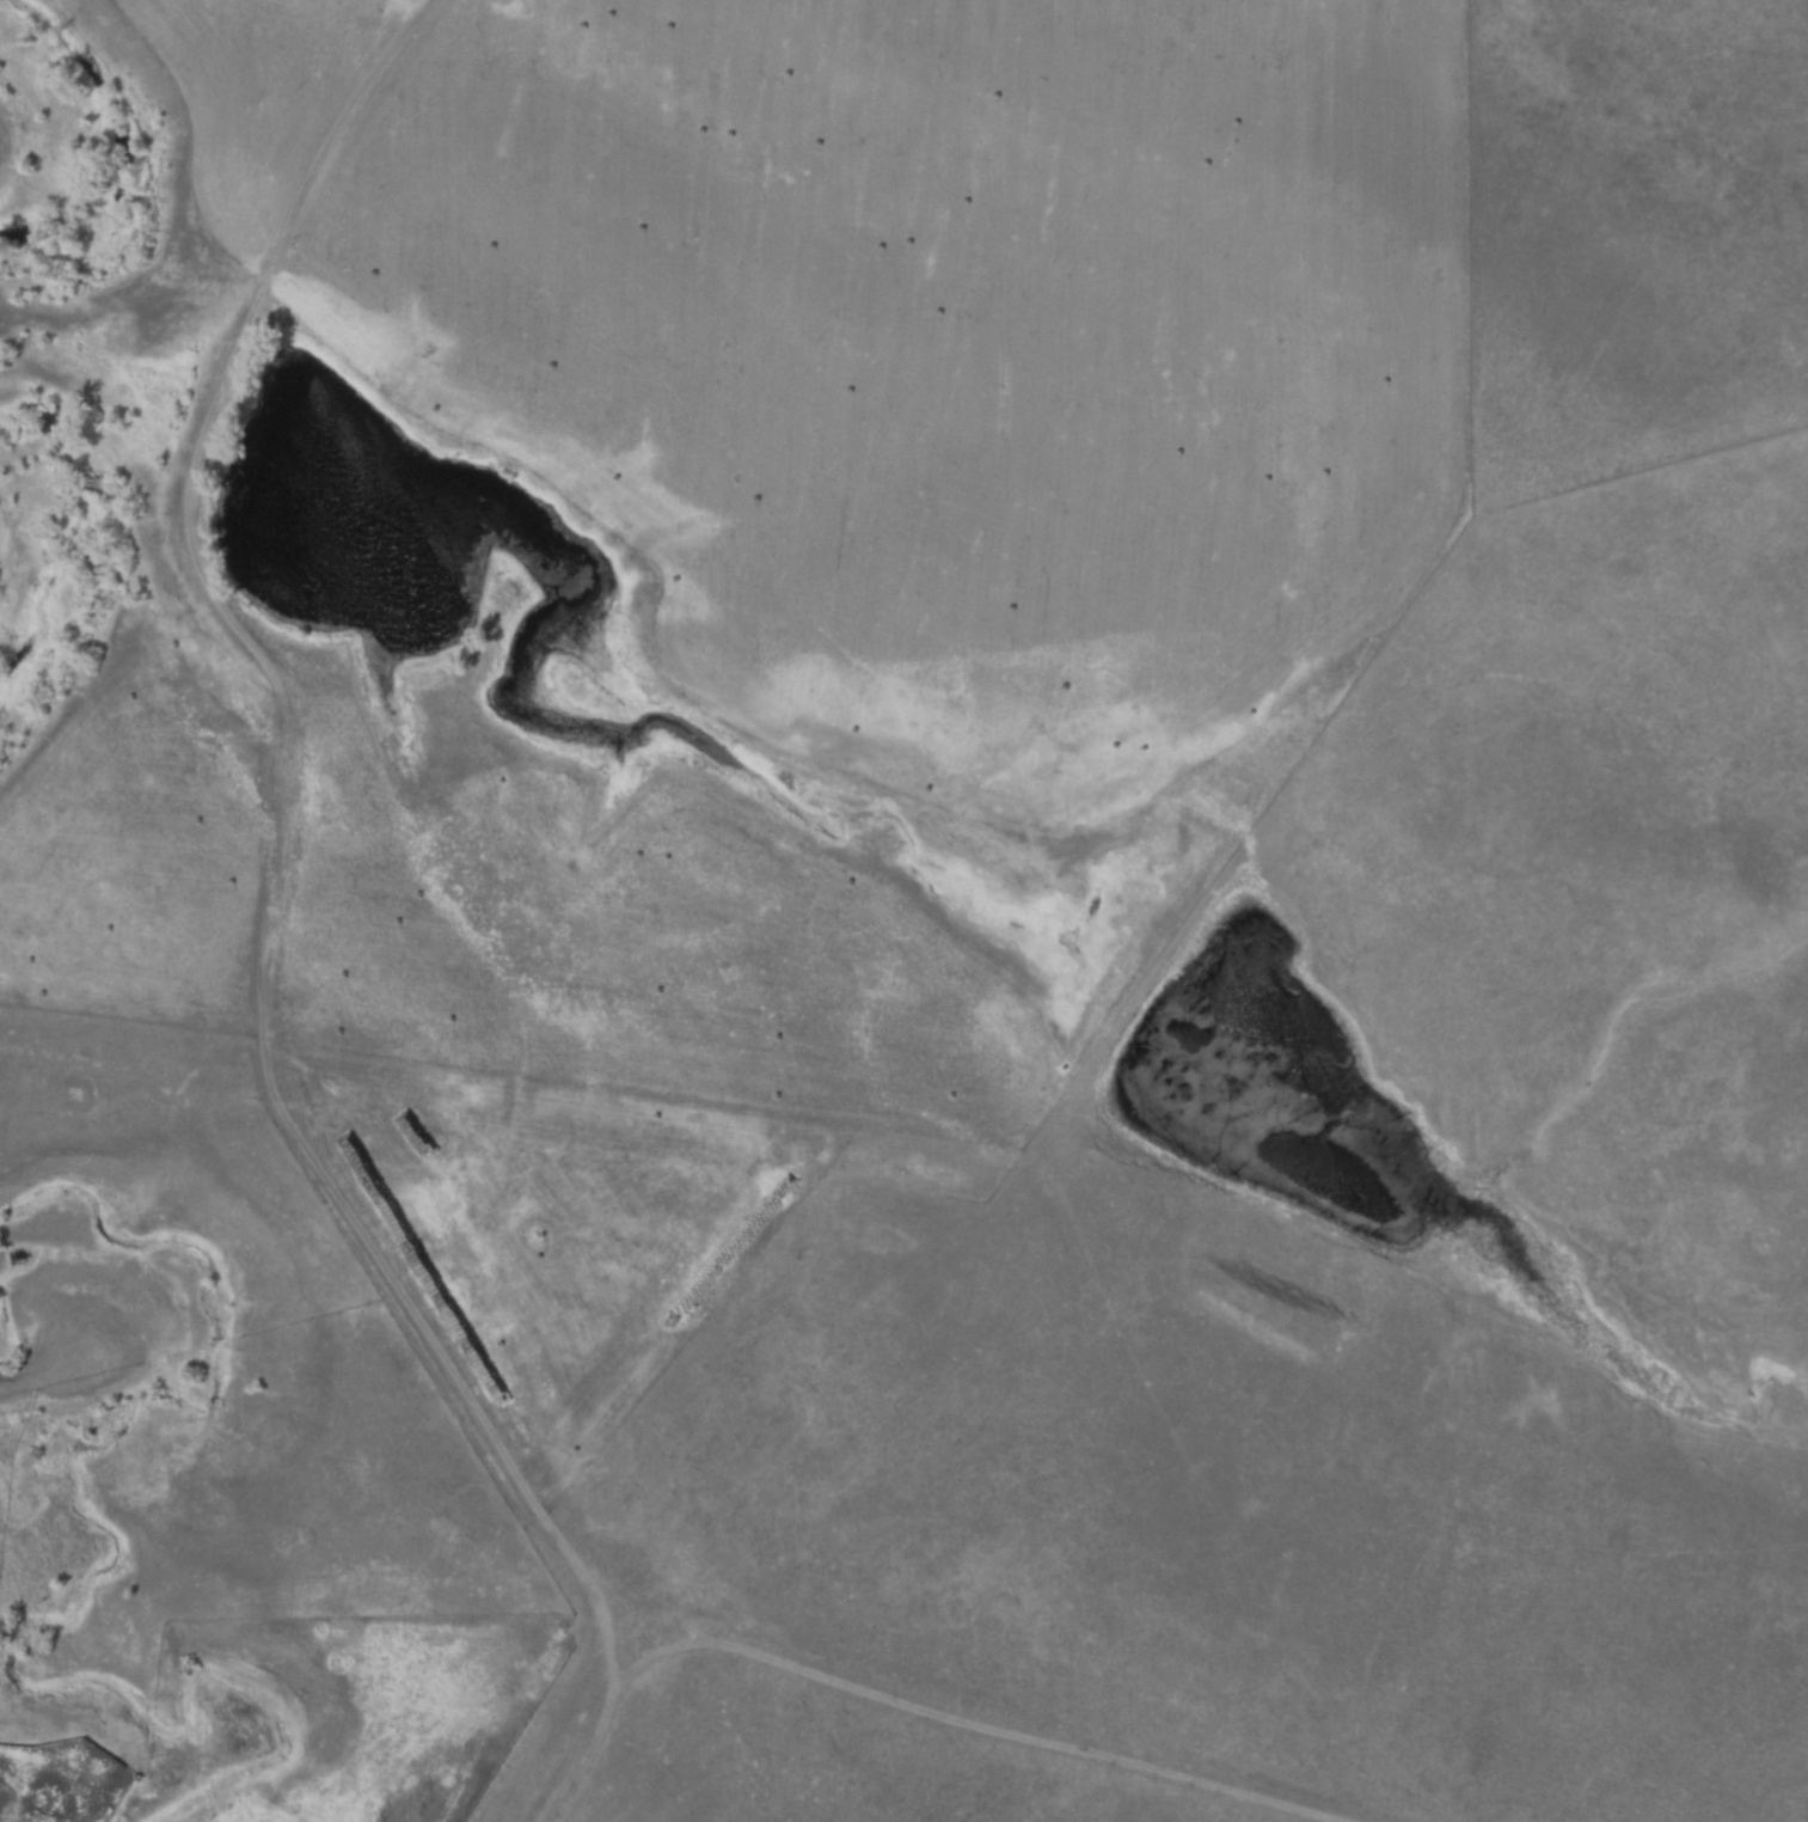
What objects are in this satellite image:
building: (1026, 1514)
building: (1, 1700)

